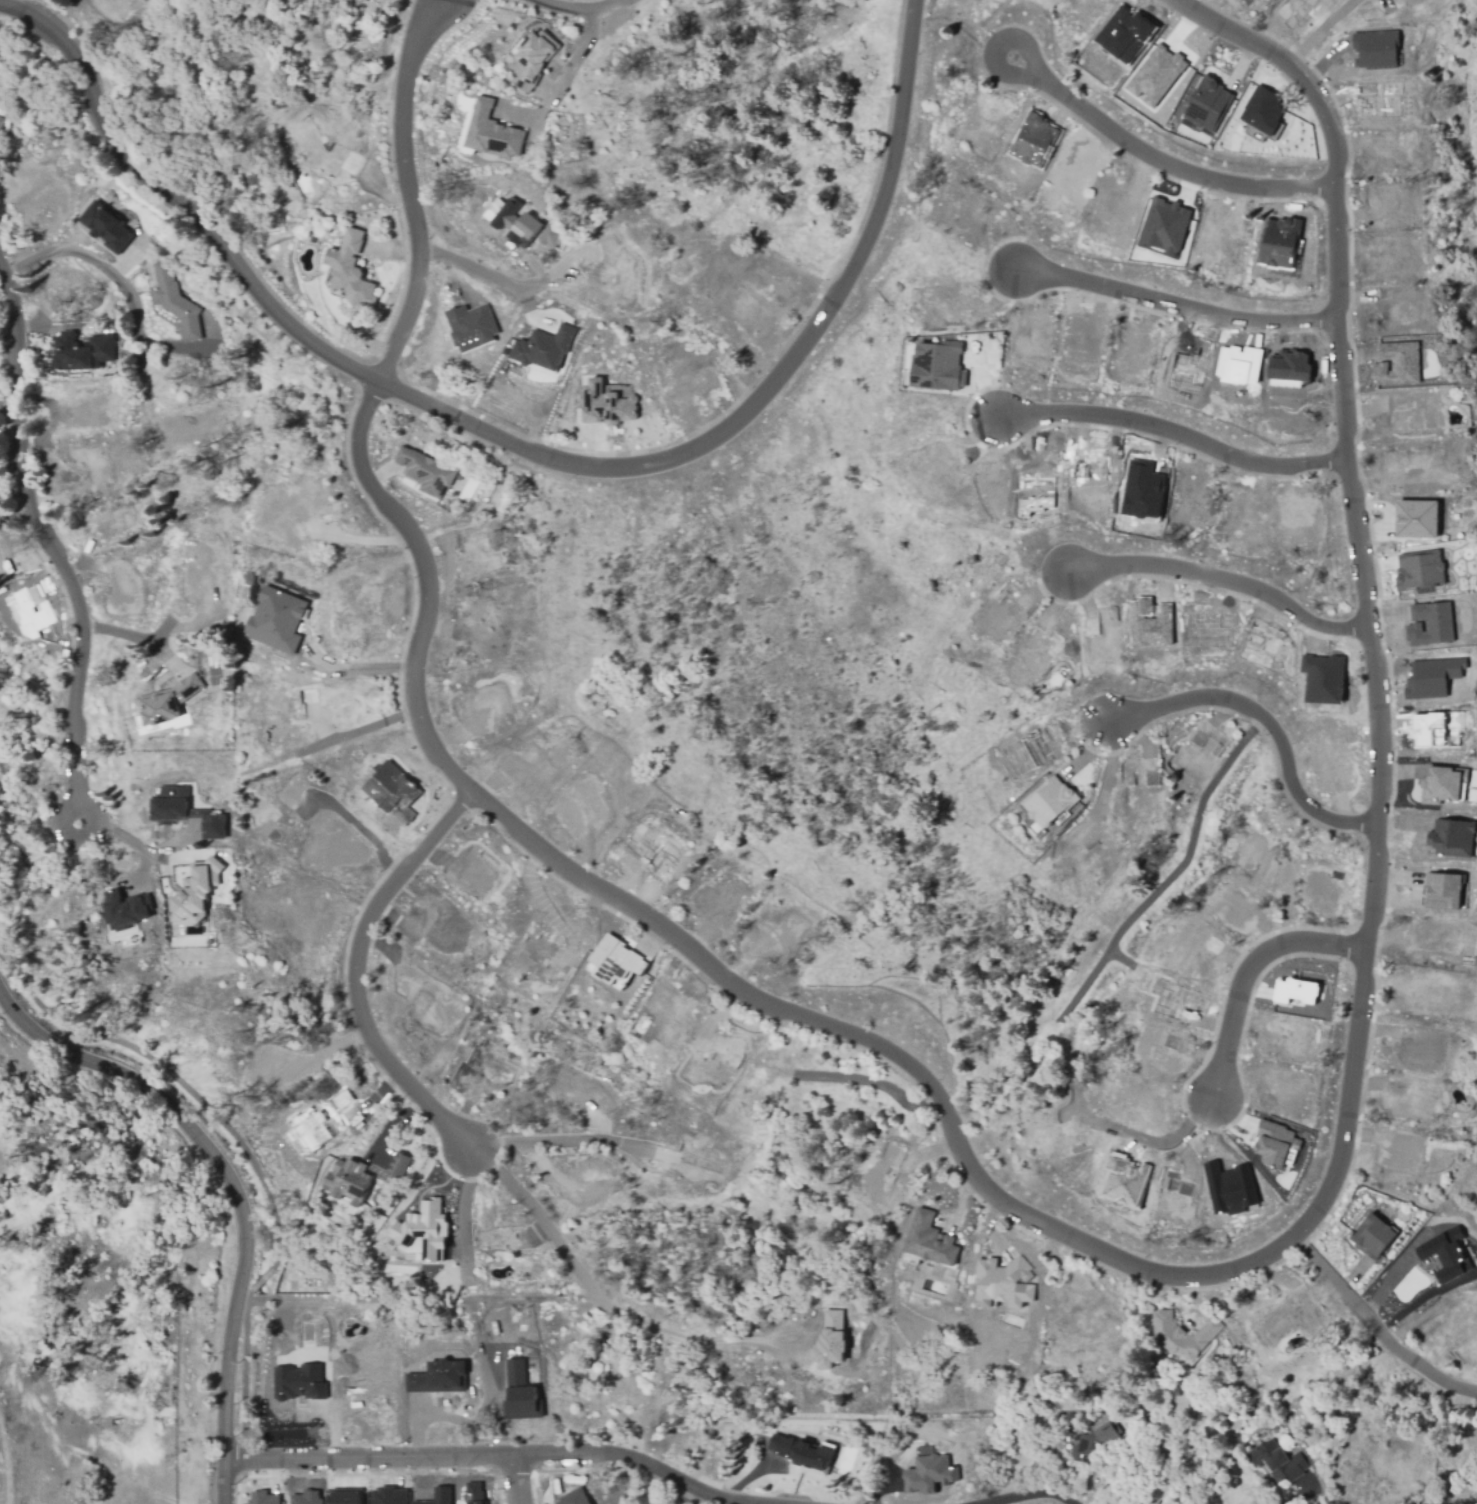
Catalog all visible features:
road: (28, 7)
road: (580, 9)
road: (1318, 32)
building: (1124, 33)
building: (1374, 48)
building: (536, 55)
building: (1155, 75)
building: (1206, 106)
building: (1262, 110)
building: (0, 113)
building: (2, 123)
building: (493, 132)
building: (1033, 140)
road: (1158, 166)
road: (408, 190)
building: (517, 223)
building: (1164, 226)
building: (107, 227)
building: (551, 236)
building: (1278, 242)
road: (84, 255)
building: (351, 270)
road: (472, 272)
building: (175, 302)
road: (1175, 308)
building: (468, 329)
building: (546, 348)
building: (85, 352)
road: (968, 362)
building: (1396, 363)
building: (1238, 364)
building: (937, 366)
building: (1288, 368)
road: (981, 382)
building: (608, 403)
road: (1171, 432)
road: (518, 446)
building: (425, 473)
building: (1142, 490)
building: (1415, 518)
road: (50, 552)
building: (1418, 570)
building: (1476, 579)
road: (1222, 581)
building: (275, 619)
building: (1150, 623)
building: (1430, 623)
road: (182, 626)
road: (129, 635)
road: (359, 668)
building: (1431, 677)
building: (1323, 678)
building: (168, 702)
road: (1265, 723)
building: (1436, 728)
road: (366, 729)
building: (1441, 784)
building: (391, 791)
building: (1050, 802)
building: (170, 804)
building: (212, 825)
building: (1453, 837)
road: (139, 848)
building: (214, 864)
road: (1175, 872)
road: (135, 874)
building: (1444, 890)
building: (192, 894)
building: (124, 912)
building: (616, 960)
road: (353, 971)
road: (1246, 974)
building: (1298, 991)
building: (308, 1130)
road: (563, 1138)
building: (1274, 1143)
building: (397, 1163)
building: (349, 1180)
building: (1124, 1180)
building: (1230, 1188)
road: (236, 1190)
road: (544, 1221)
building: (423, 1229)
building: (1372, 1237)
building: (929, 1239)
building: (1445, 1254)
road: (1239, 1268)
building: (1003, 1283)
road: (471, 1306)
road: (1375, 1325)
building: (1184, 1336)
building: (829, 1339)
road: (701, 1340)
building: (437, 1377)
building: (298, 1382)
building: (519, 1393)
building: (1096, 1443)
building: (780, 1445)
road: (453, 1456)
building: (811, 1456)
building: (1280, 1461)
building: (928, 1472)
road: (512, 1482)
road: (690, 1487)
building: (474, 1493)
building: (346, 1495)
building: (389, 1495)
road: (1030, 1495)
building: (437, 1496)
building: (262, 1497)
building: (306, 1497)
building: (573, 1497)

